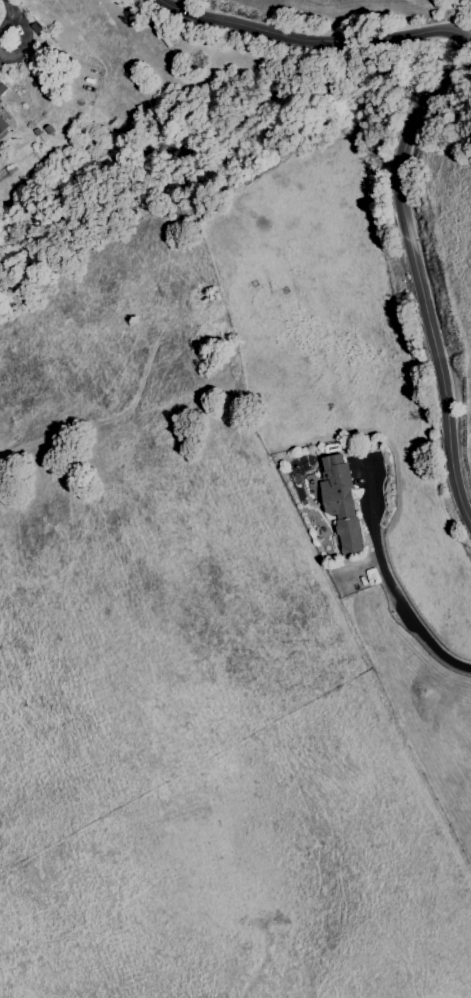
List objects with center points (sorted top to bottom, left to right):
road: (7, 5)
road: (25, 30)
building: (2, 88)
building: (0, 102)
road: (410, 122)
building: (2, 126)
building: (340, 503)
road: (390, 585)

